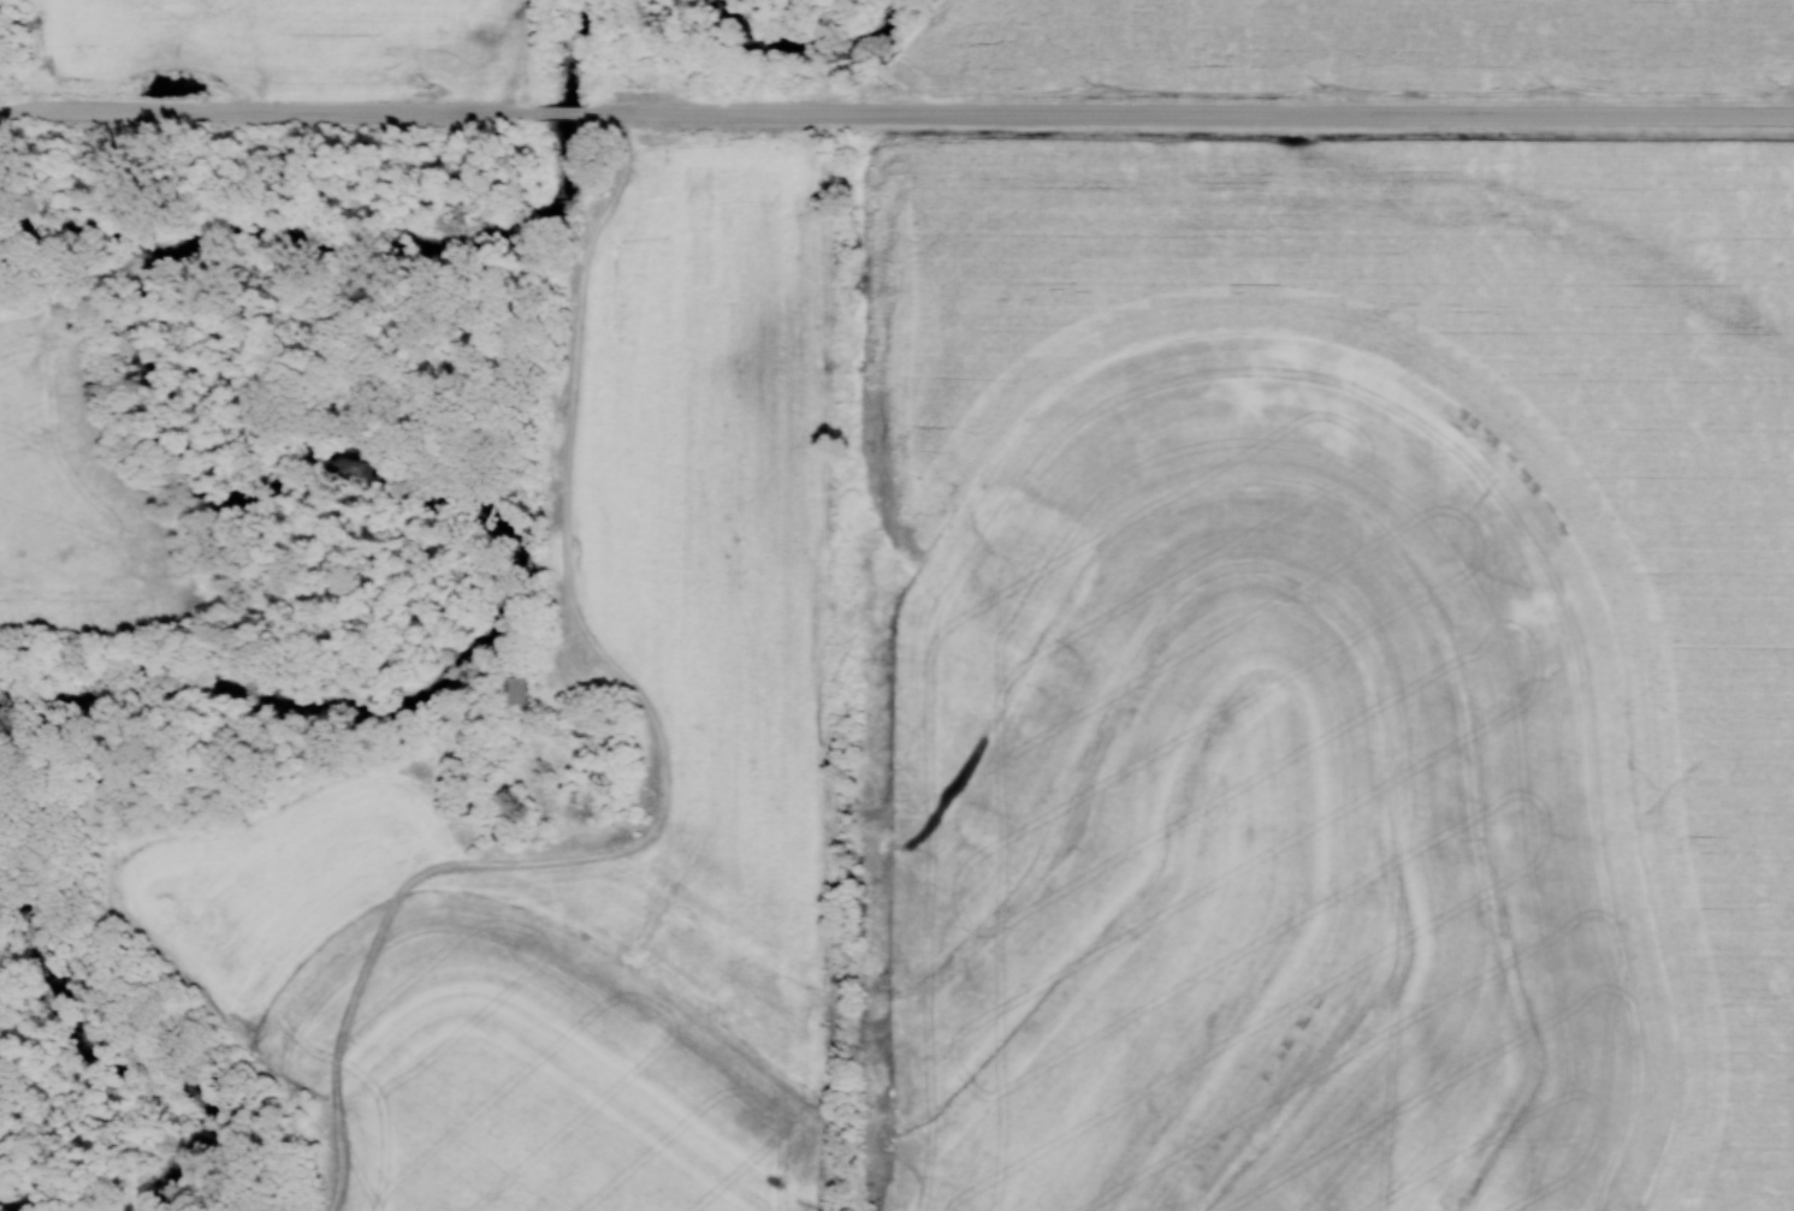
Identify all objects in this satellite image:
road: (896, 114)
building: (514, 688)

